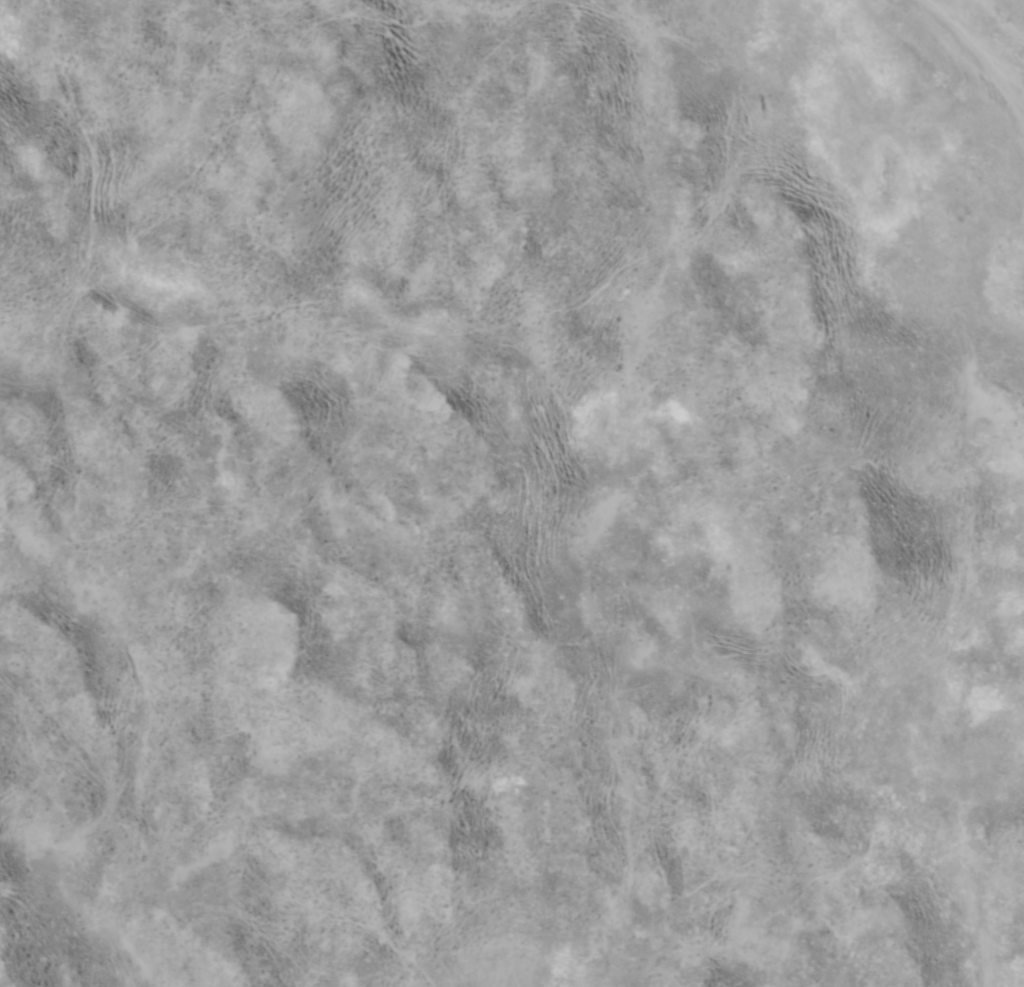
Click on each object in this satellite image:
road: (971, 63)

